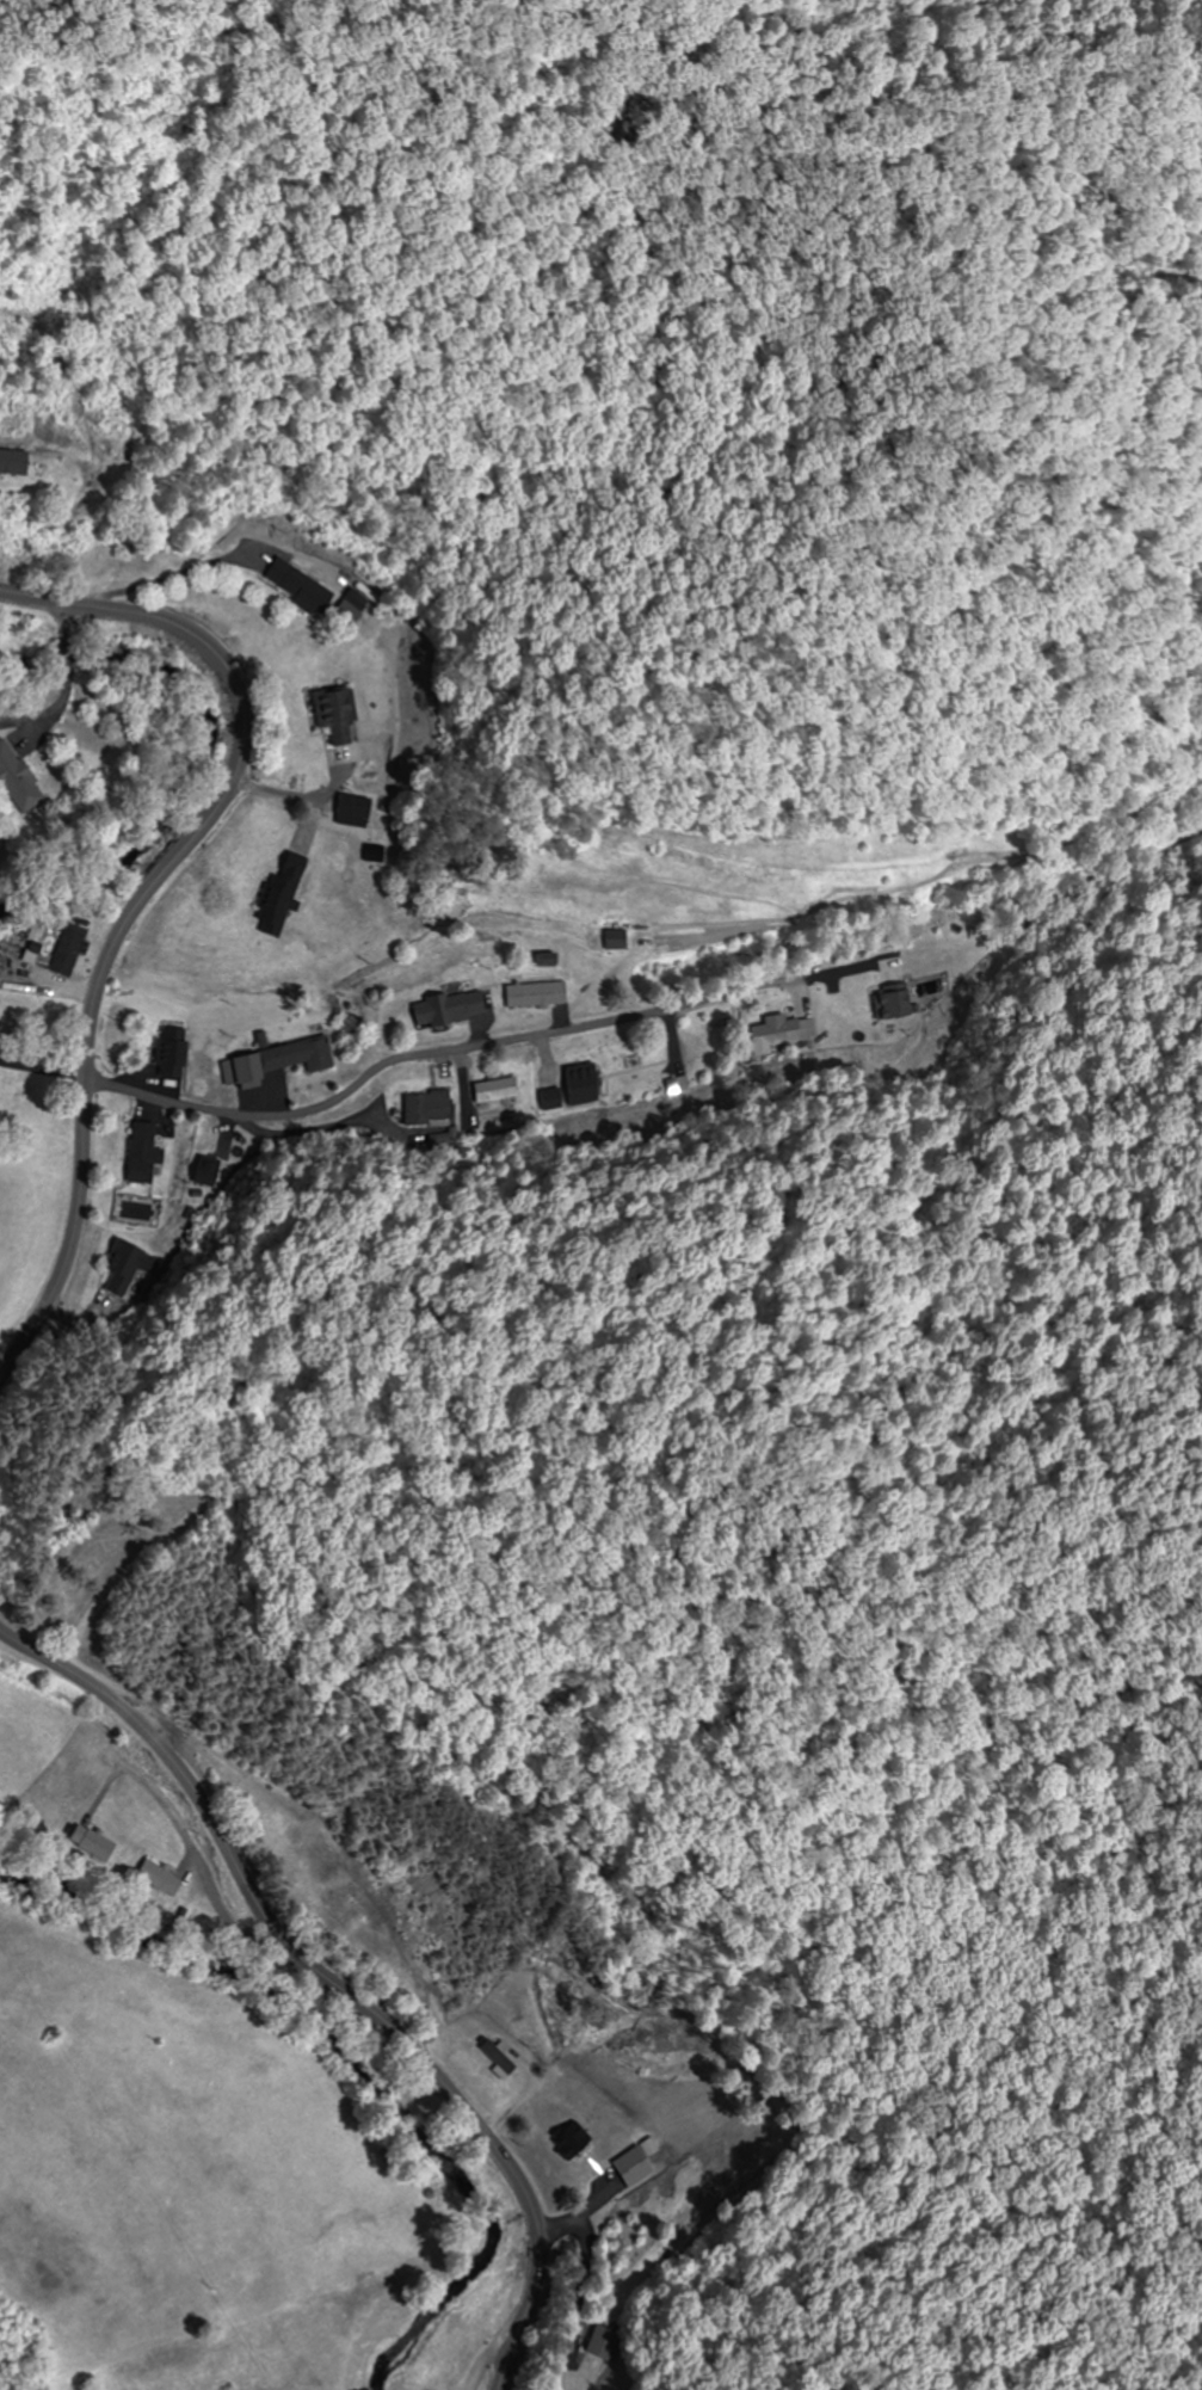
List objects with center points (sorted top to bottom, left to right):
building: (6, 467)
building: (294, 585)
road: (66, 686)
building: (333, 714)
building: (16, 782)
road: (155, 855)
building: (285, 871)
road: (142, 900)
building: (54, 948)
building: (534, 996)
building: (889, 1004)
building: (444, 1009)
building: (775, 1027)
road: (451, 1051)
building: (168, 1053)
building: (272, 1062)
building: (633, 1070)
building: (495, 1091)
building: (427, 1111)
building: (140, 1154)
building: (123, 1268)
building: (90, 1842)
road: (196, 1855)
road: (790, 1856)
building: (158, 1878)
road: (331, 1981)
road: (166, 2040)
building: (493, 2057)
building: (567, 2140)
building: (621, 2189)
building: (600, 2345)

